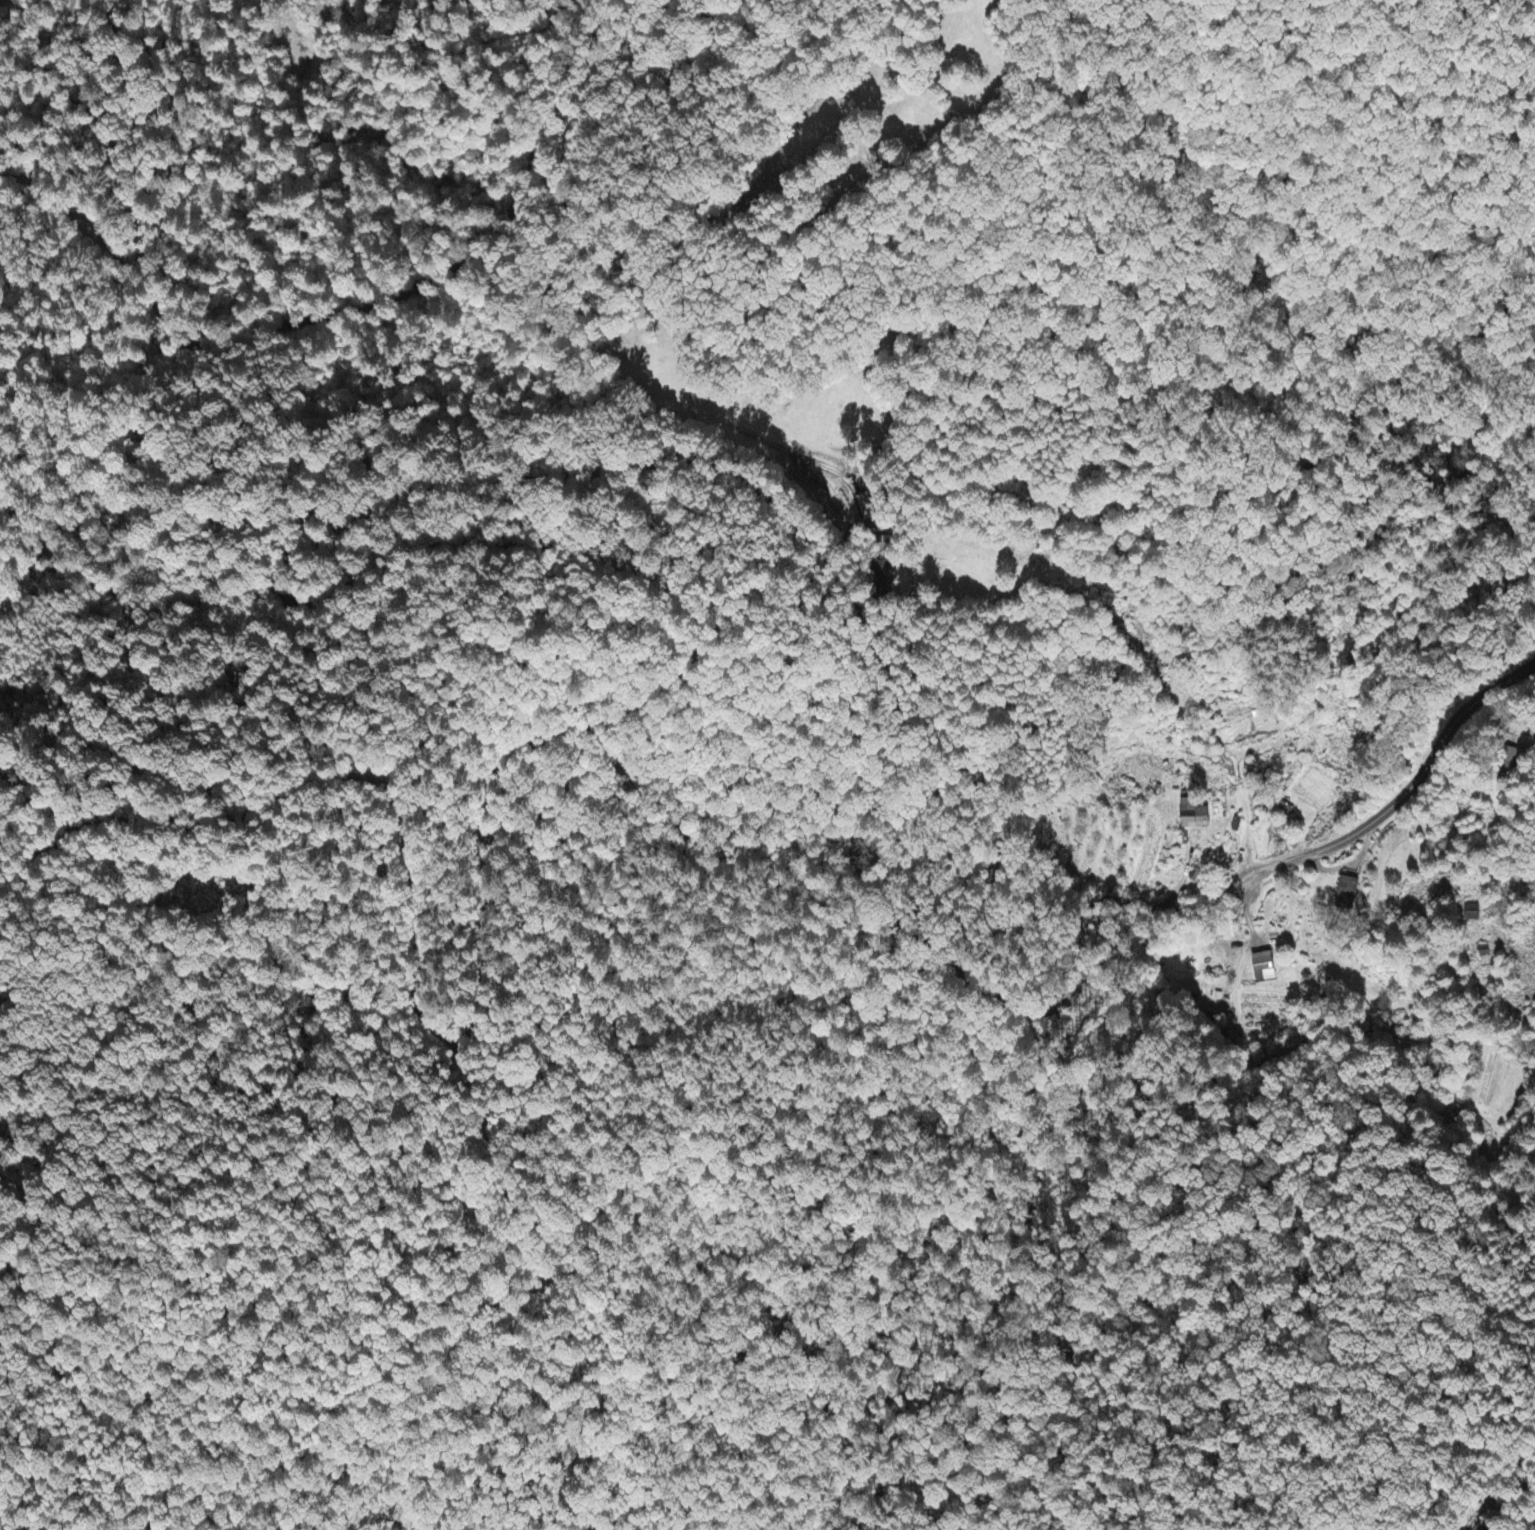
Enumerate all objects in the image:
road: (649, 428)
road: (589, 726)
road: (1428, 766)
building: (1188, 812)
building: (1346, 893)
building: (1470, 914)
building: (1261, 970)

